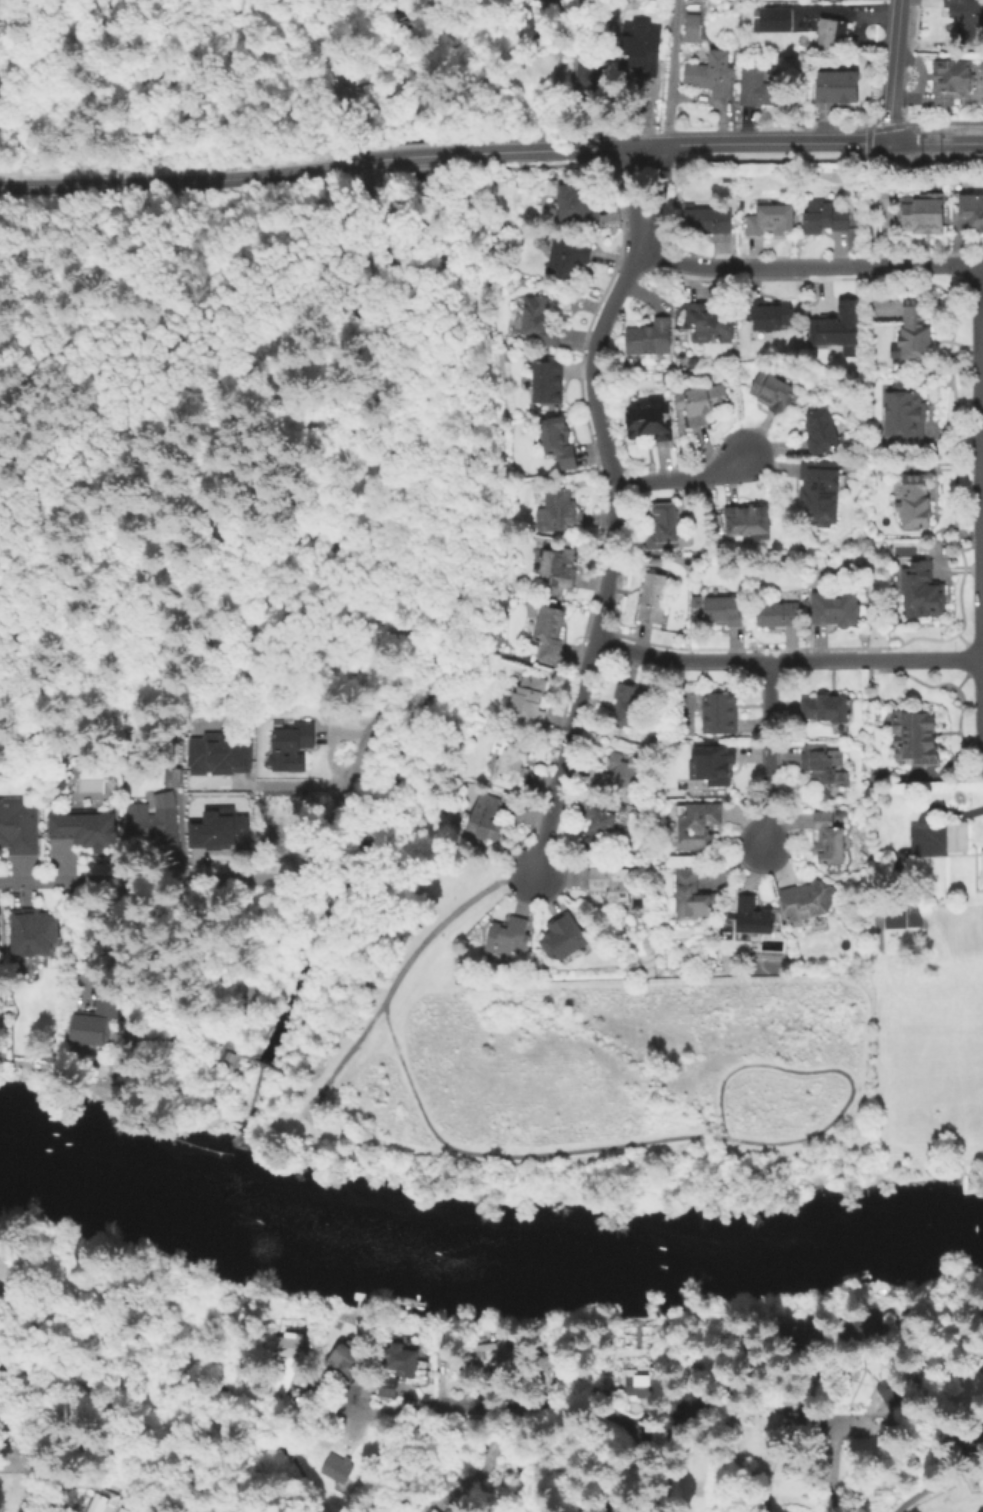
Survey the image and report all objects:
road: (314, 12)
building: (967, 12)
road: (331, 20)
building: (776, 20)
building: (693, 29)
building: (834, 33)
building: (640, 64)
road: (891, 70)
road: (669, 72)
road: (179, 73)
building: (712, 74)
building: (591, 76)
building: (771, 77)
building: (948, 80)
parking lot: (353, 85)
road: (348, 87)
building: (757, 88)
building: (839, 89)
road: (343, 102)
road: (935, 141)
road: (683, 143)
road: (427, 154)
road: (367, 160)
road: (353, 163)
building: (726, 178)
road: (173, 182)
road: (630, 188)
road: (657, 189)
building: (830, 196)
building: (578, 204)
building: (972, 213)
building: (920, 216)
building: (824, 218)
building: (707, 220)
building: (771, 220)
building: (568, 261)
road: (809, 265)
building: (680, 311)
building: (768, 314)
building: (713, 320)
building: (539, 322)
building: (681, 323)
building: (837, 326)
building: (917, 334)
building: (650, 338)
building: (548, 382)
building: (774, 394)
building: (701, 403)
building: (907, 419)
building: (651, 422)
building: (820, 431)
building: (558, 442)
road: (981, 463)
road: (683, 477)
building: (822, 490)
building: (916, 505)
building: (560, 512)
building: (747, 519)
building: (718, 520)
building: (665, 526)
road: (218, 539)
road: (611, 549)
building: (561, 566)
building: (923, 596)
building: (654, 598)
building: (695, 602)
building: (805, 605)
building: (836, 608)
building: (725, 611)
building: (779, 614)
building: (549, 634)
park: (470, 651)
road: (402, 654)
building: (524, 655)
road: (788, 661)
building: (529, 703)
building: (863, 703)
building: (627, 707)
building: (827, 708)
building: (719, 712)
building: (917, 742)
building: (1, 746)
building: (290, 748)
building: (216, 754)
road: (768, 757)
building: (514, 765)
building: (720, 766)
building: (824, 768)
building: (618, 775)
building: (169, 777)
road: (287, 786)
building: (840, 815)
building: (486, 817)
building: (275, 818)
building: (152, 823)
building: (598, 825)
building: (698, 826)
building: (18, 829)
building: (215, 829)
building: (84, 833)
building: (828, 839)
building: (958, 840)
building: (982, 875)
road: (148, 880)
building: (611, 882)
building: (691, 896)
building: (807, 900)
building: (902, 914)
building: (752, 916)
road: (442, 920)
building: (0, 926)
building: (35, 936)
building: (508, 937)
building: (564, 937)
road: (74, 938)
building: (94, 1022)
road: (341, 1060)
road: (762, 1064)
pier: (241, 1123)
road: (710, 1137)
road: (793, 1140)
road: (494, 1155)
river: (109, 1166)
river: (232, 1207)
river: (615, 1248)
building: (860, 1327)
building: (495, 1349)
building: (291, 1358)
building: (346, 1359)
building: (402, 1364)
building: (639, 1384)
building: (889, 1390)
building: (791, 1402)
road: (534, 1403)
building: (150, 1425)
building: (339, 1466)
road: (832, 1473)
road: (937, 1485)
building: (101, 1503)
building: (124, 1510)
building: (417, 1511)
building: (435, 1511)

